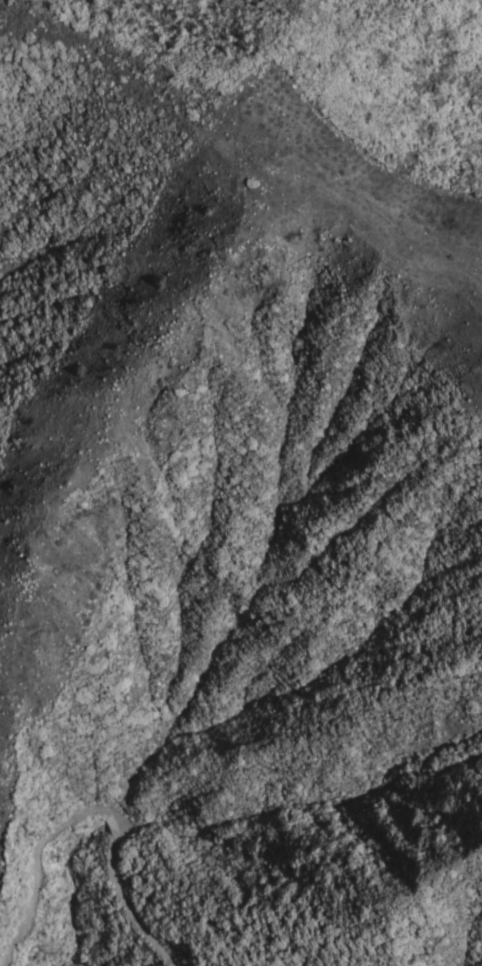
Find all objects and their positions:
road: (96, 806)

